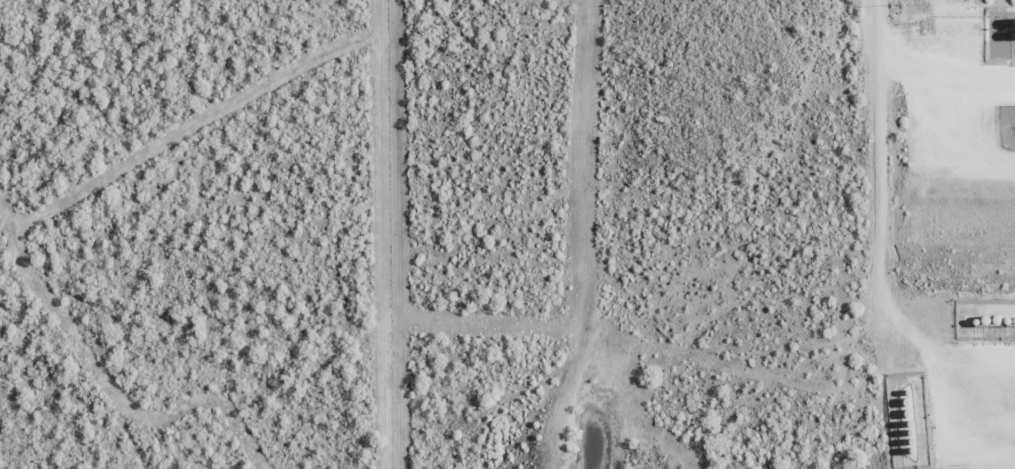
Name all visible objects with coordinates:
road: (911, 66)
road: (878, 217)

